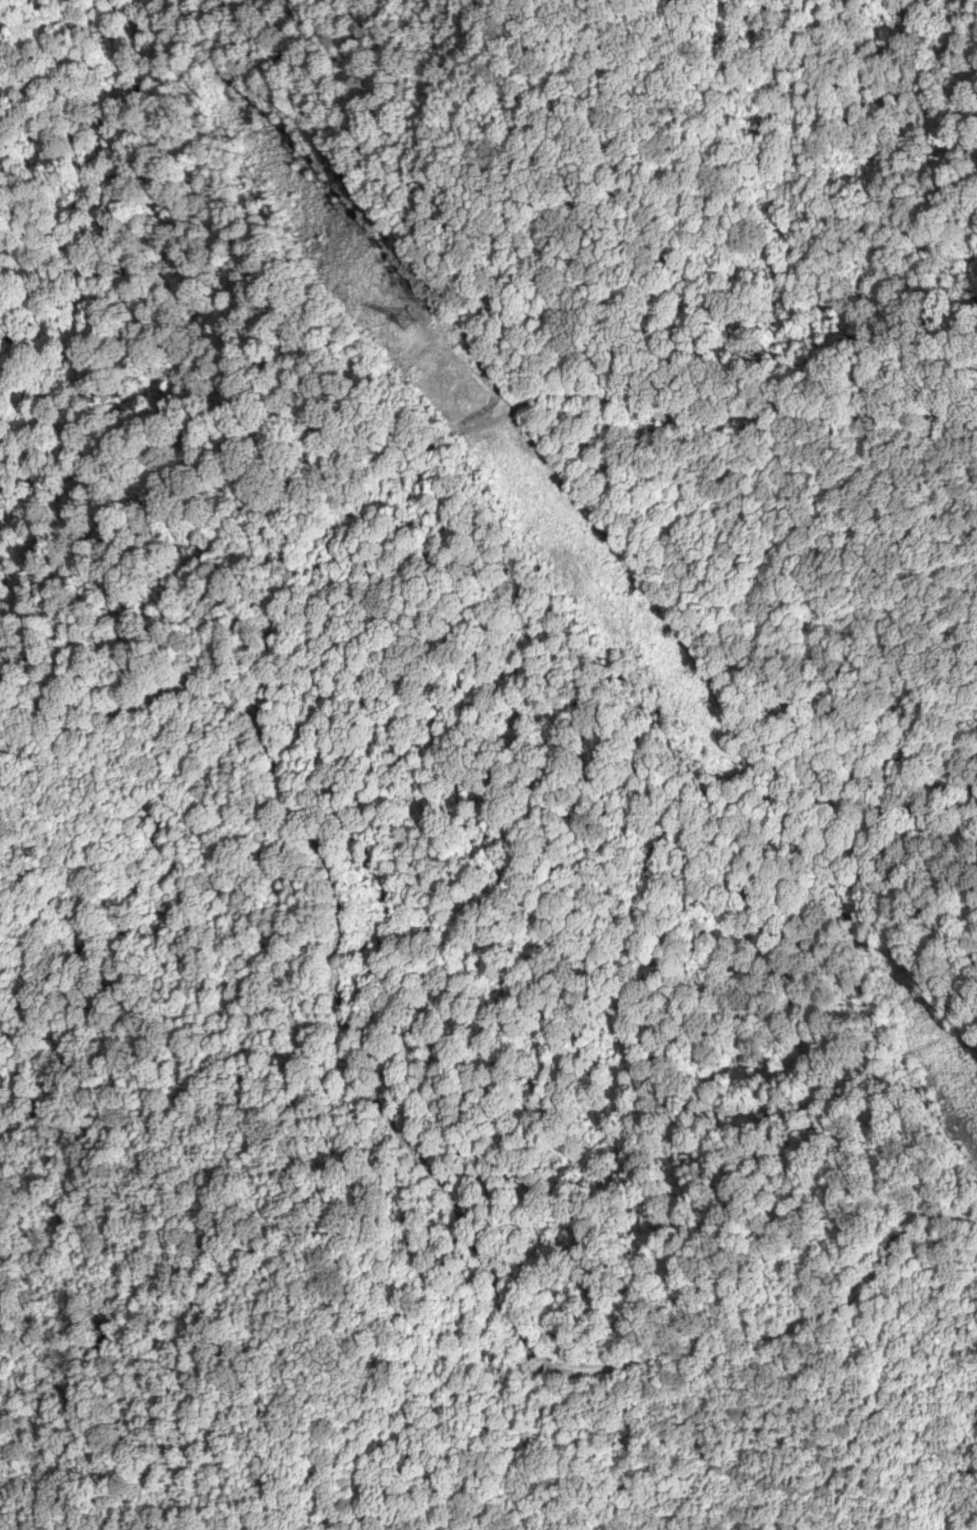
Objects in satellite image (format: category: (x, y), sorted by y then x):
power tower: (395, 322)

